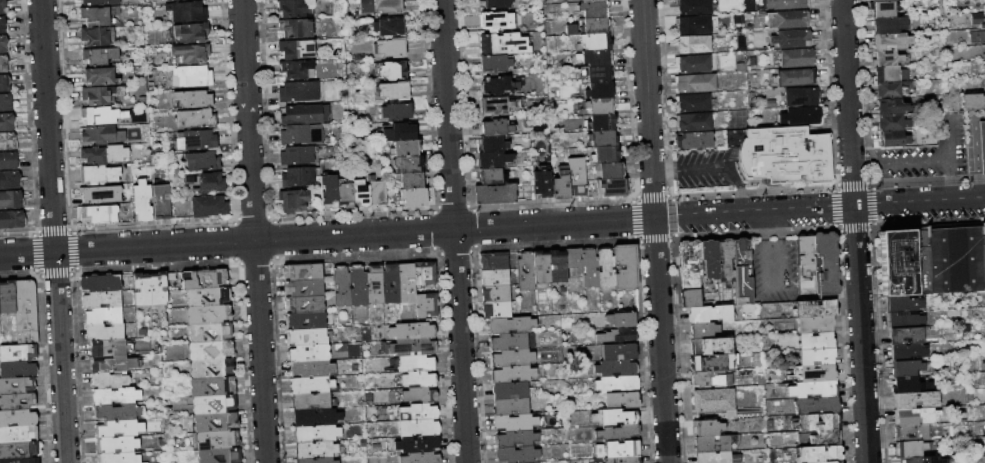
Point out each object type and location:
building: (172, 0)
building: (878, 0)
building: (592, 1)
building: (96, 3)
building: (495, 4)
building: (785, 4)
building: (4, 6)
building: (382, 6)
building: (696, 6)
building: (294, 7)
building: (594, 9)
building: (883, 9)
building: (186, 12)
building: (97, 16)
building: (976, 18)
building: (788, 20)
building: (495, 21)
building: (4, 24)
building: (889, 24)
building: (692, 25)
building: (590, 26)
building: (390, 27)
building: (295, 28)
building: (191, 33)
building: (96, 36)
building: (792, 39)
building: (891, 41)
building: (595, 42)
building: (4, 43)
building: (503, 44)
building: (692, 44)
building: (390, 47)
building: (294, 49)
building: (189, 54)
building: (984, 55)
building: (98, 56)
building: (595, 58)
building: (797, 58)
building: (886, 58)
building: (493, 63)
building: (4, 64)
building: (691, 64)
building: (295, 69)
building: (393, 70)
building: (595, 74)
building: (891, 74)
building: (193, 76)
building: (99, 77)
building: (797, 78)
building: (6, 83)
building: (694, 83)
building: (500, 85)
building: (395, 90)
building: (889, 90)
building: (299, 91)
building: (599, 91)
building: (101, 95)
building: (801, 97)
building: (192, 99)
building: (972, 101)
building: (7, 102)
building: (693, 103)
building: (496, 105)
building: (600, 106)
building: (889, 106)
building: (396, 111)
building: (304, 114)
building: (100, 116)
building: (802, 116)
building: (196, 118)
building: (8, 121)
building: (601, 122)
building: (694, 122)
building: (891, 122)
building: (495, 127)
building: (399, 132)
building: (301, 134)
building: (100, 135)
building: (732, 136)
building: (603, 138)
building: (893, 138)
road: (948, 139)
building: (197, 140)
building: (695, 140)
road: (973, 140)
building: (8, 141)
building: (491, 144)
building: (982, 145)
building: (405, 148)
parking lot: (927, 153)
building: (102, 155)
building: (296, 155)
building: (605, 155)
building: (784, 156)
building: (492, 159)
building: (9, 160)
road: (919, 160)
parking lot: (927, 160)
building: (203, 161)
road: (864, 163)
building: (409, 164)
road: (711, 165)
parking lot: (706, 168)
road: (663, 169)
building: (610, 171)
building: (97, 175)
building: (298, 176)
building: (490, 176)
building: (576, 177)
building: (11, 180)
building: (413, 180)
building: (205, 182)
building: (541, 184)
building: (561, 184)
building: (611, 187)
road: (951, 187)
road: (977, 187)
building: (329, 192)
building: (377, 192)
building: (361, 193)
building: (99, 194)
building: (493, 194)
building: (345, 195)
building: (415, 196)
road: (739, 198)
building: (12, 199)
building: (294, 200)
building: (141, 201)
building: (161, 201)
building: (209, 206)
building: (97, 214)
building: (12, 219)
road: (783, 225)
road: (492, 226)
road: (762, 227)
road: (53, 231)
road: (254, 231)
road: (454, 231)
road: (654, 231)
road: (855, 231)
building: (805, 253)
building: (709, 259)
building: (573, 260)
building: (950, 260)
building: (493, 261)
building: (725, 262)
building: (895, 262)
building: (689, 264)
building: (826, 265)
building: (556, 266)
building: (540, 267)
building: (625, 267)
building: (605, 268)
building: (589, 269)
parking lot: (774, 270)
building: (302, 271)
building: (742, 271)
building: (424, 272)
building: (525, 272)
building: (204, 278)
building: (494, 278)
building: (406, 282)
building: (101, 283)
building: (374, 284)
building: (395, 284)
building: (341, 285)
building: (357, 285)
road: (776, 286)
building: (158, 288)
building: (142, 289)
building: (314, 289)
building: (495, 293)
building: (208, 296)
building: (6, 297)
building: (690, 298)
building: (101, 299)
building: (304, 303)
building: (426, 304)
building: (903, 304)
building: (814, 309)
building: (496, 310)
building: (24, 311)
building: (209, 313)
building: (709, 314)
building: (103, 315)
building: (293, 320)
building: (621, 320)
building: (904, 320)
building: (814, 324)
building: (510, 326)
building: (411, 330)
building: (105, 331)
building: (210, 331)
building: (702, 331)
building: (307, 335)
building: (617, 336)
building: (905, 336)
building: (815, 341)
building: (512, 342)
building: (413, 346)
building: (710, 346)
building: (108, 347)
building: (211, 350)
building: (18, 352)
building: (308, 352)
building: (619, 352)
building: (907, 352)
building: (816, 357)
building: (512, 358)
building: (414, 362)
building: (714, 363)
building: (112, 364)
building: (905, 367)
building: (17, 368)
building: (212, 368)
building: (311, 368)
building: (616, 369)
building: (512, 374)
building: (814, 374)
building: (418, 378)
building: (711, 379)
building: (108, 380)
building: (311, 384)
building: (16, 385)
building: (212, 385)
building: (617, 385)
building: (908, 385)
building: (813, 390)
building: (513, 391)
building: (419, 394)
building: (116, 395)
building: (915, 400)
building: (17, 401)
building: (310, 401)
building: (621, 401)
building: (715, 401)
building: (213, 403)
building: (816, 405)
building: (510, 406)
building: (420, 410)
building: (117, 411)
building: (315, 416)
building: (912, 416)
building: (18, 417)
building: (614, 418)
building: (984, 420)
building: (216, 421)
building: (817, 422)
building: (515, 423)
building: (418, 427)
building: (119, 428)
building: (708, 428)
building: (316, 432)
building: (911, 432)
building: (18, 434)
building: (617, 434)
building: (825, 438)
building: (515, 439)
building: (217, 440)
building: (417, 443)
building: (714, 443)
building: (117, 444)
building: (317, 449)
building: (909, 449)
building: (18, 450)
building: (617, 450)
building: (819, 454)
building: (220, 455)
building: (517, 455)
building: (118, 457)
building: (420, 457)
building: (717, 457)
building: (20, 460)
building: (317, 460)
building: (627, 460)
building: (918, 460)
building: (607, 461)
building: (834, 462)

